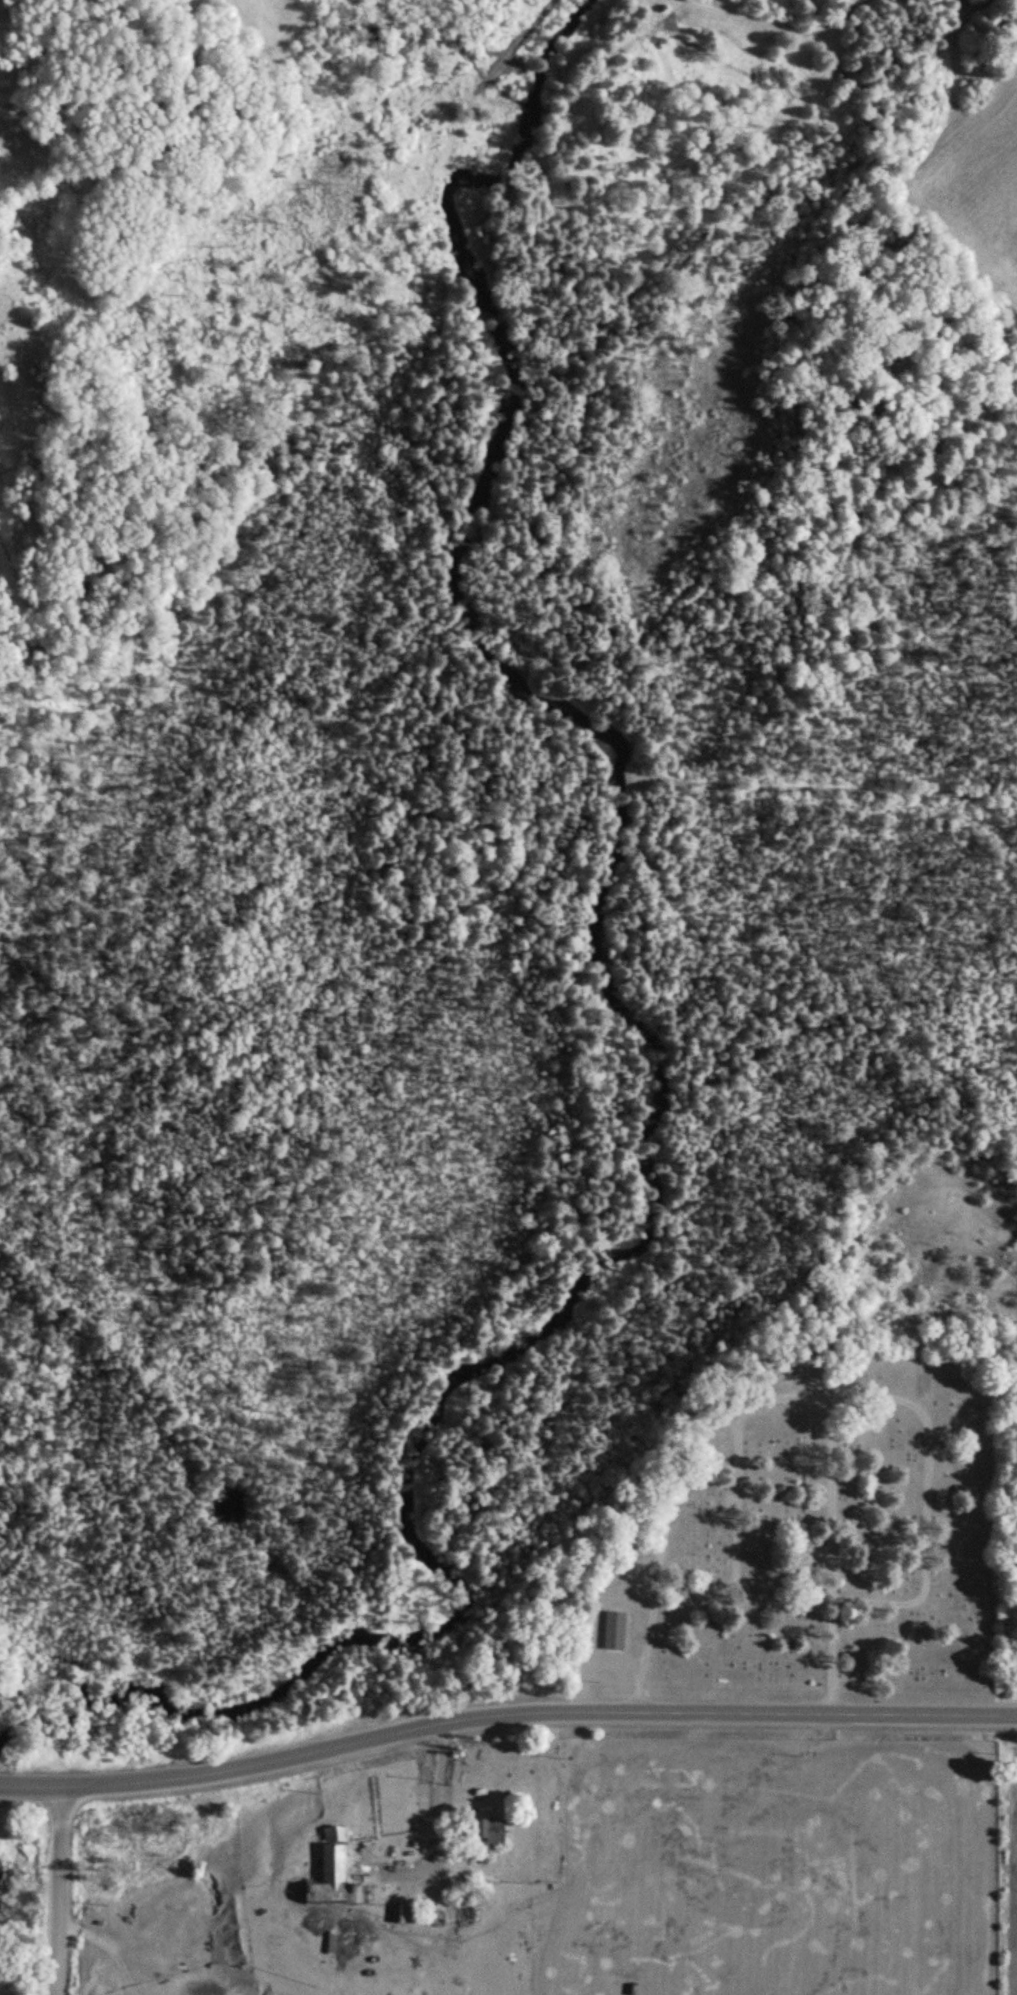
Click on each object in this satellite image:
river: (644, 1052)
park: (814, 1528)
building: (614, 1631)
road: (505, 1713)
building: (488, 1828)
building: (327, 1870)
road: (63, 1891)

